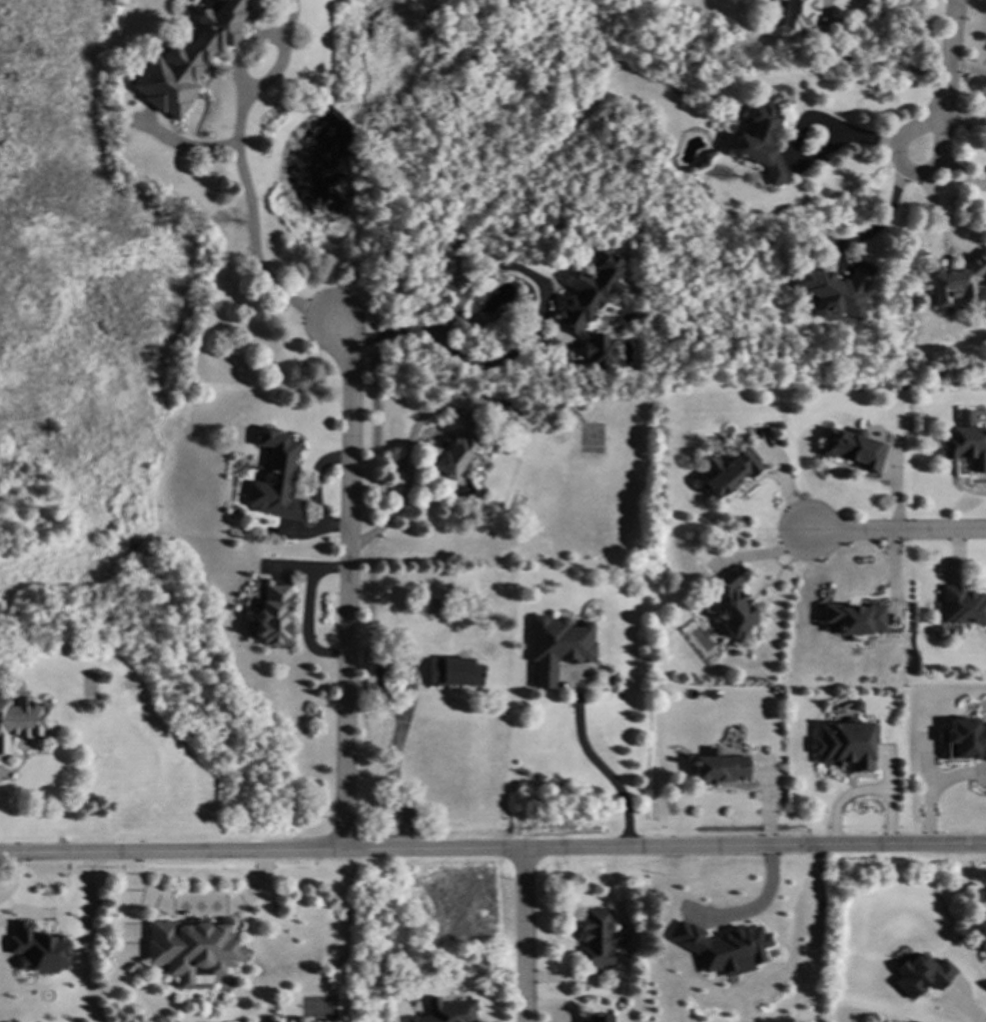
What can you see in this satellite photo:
building: (791, 18)
road: (946, 53)
building: (190, 57)
road: (962, 119)
road: (799, 129)
building: (761, 141)
road: (904, 168)
road: (959, 175)
road: (882, 224)
road: (253, 229)
road: (516, 273)
building: (955, 279)
building: (834, 288)
building: (641, 298)
building: (581, 301)
building: (599, 353)
building: (558, 403)
building: (964, 442)
building: (457, 448)
building: (853, 448)
building: (729, 469)
building: (275, 486)
road: (400, 502)
road: (893, 530)
road: (351, 587)
building: (381, 602)
building: (436, 603)
building: (732, 603)
building: (962, 604)
building: (273, 616)
building: (855, 616)
building: (940, 633)
building: (61, 645)
building: (557, 646)
building: (454, 672)
road: (408, 690)
building: (856, 705)
building: (22, 718)
building: (963, 738)
building: (845, 745)
building: (719, 766)
road: (603, 774)
road: (932, 790)
road: (864, 792)
road: (409, 827)
road: (378, 829)
road: (492, 852)
road: (195, 908)
road: (750, 909)
building: (983, 935)
road: (522, 937)
building: (596, 938)
building: (723, 948)
building: (190, 949)
building: (36, 950)
building: (921, 975)
building: (656, 985)
building: (738, 986)
building: (712, 1006)
building: (446, 1011)
building: (597, 1018)
building: (264, 1020)

